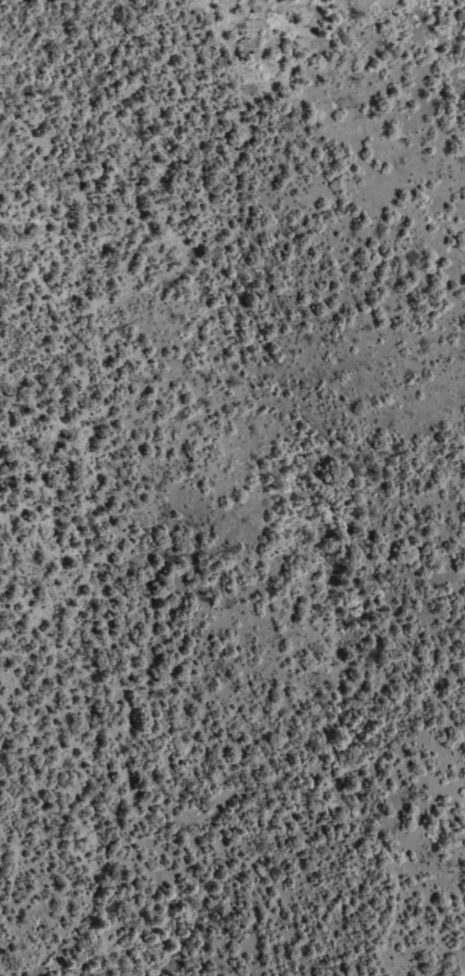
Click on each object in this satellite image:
road: (375, 100)
road: (454, 400)
road: (394, 842)

